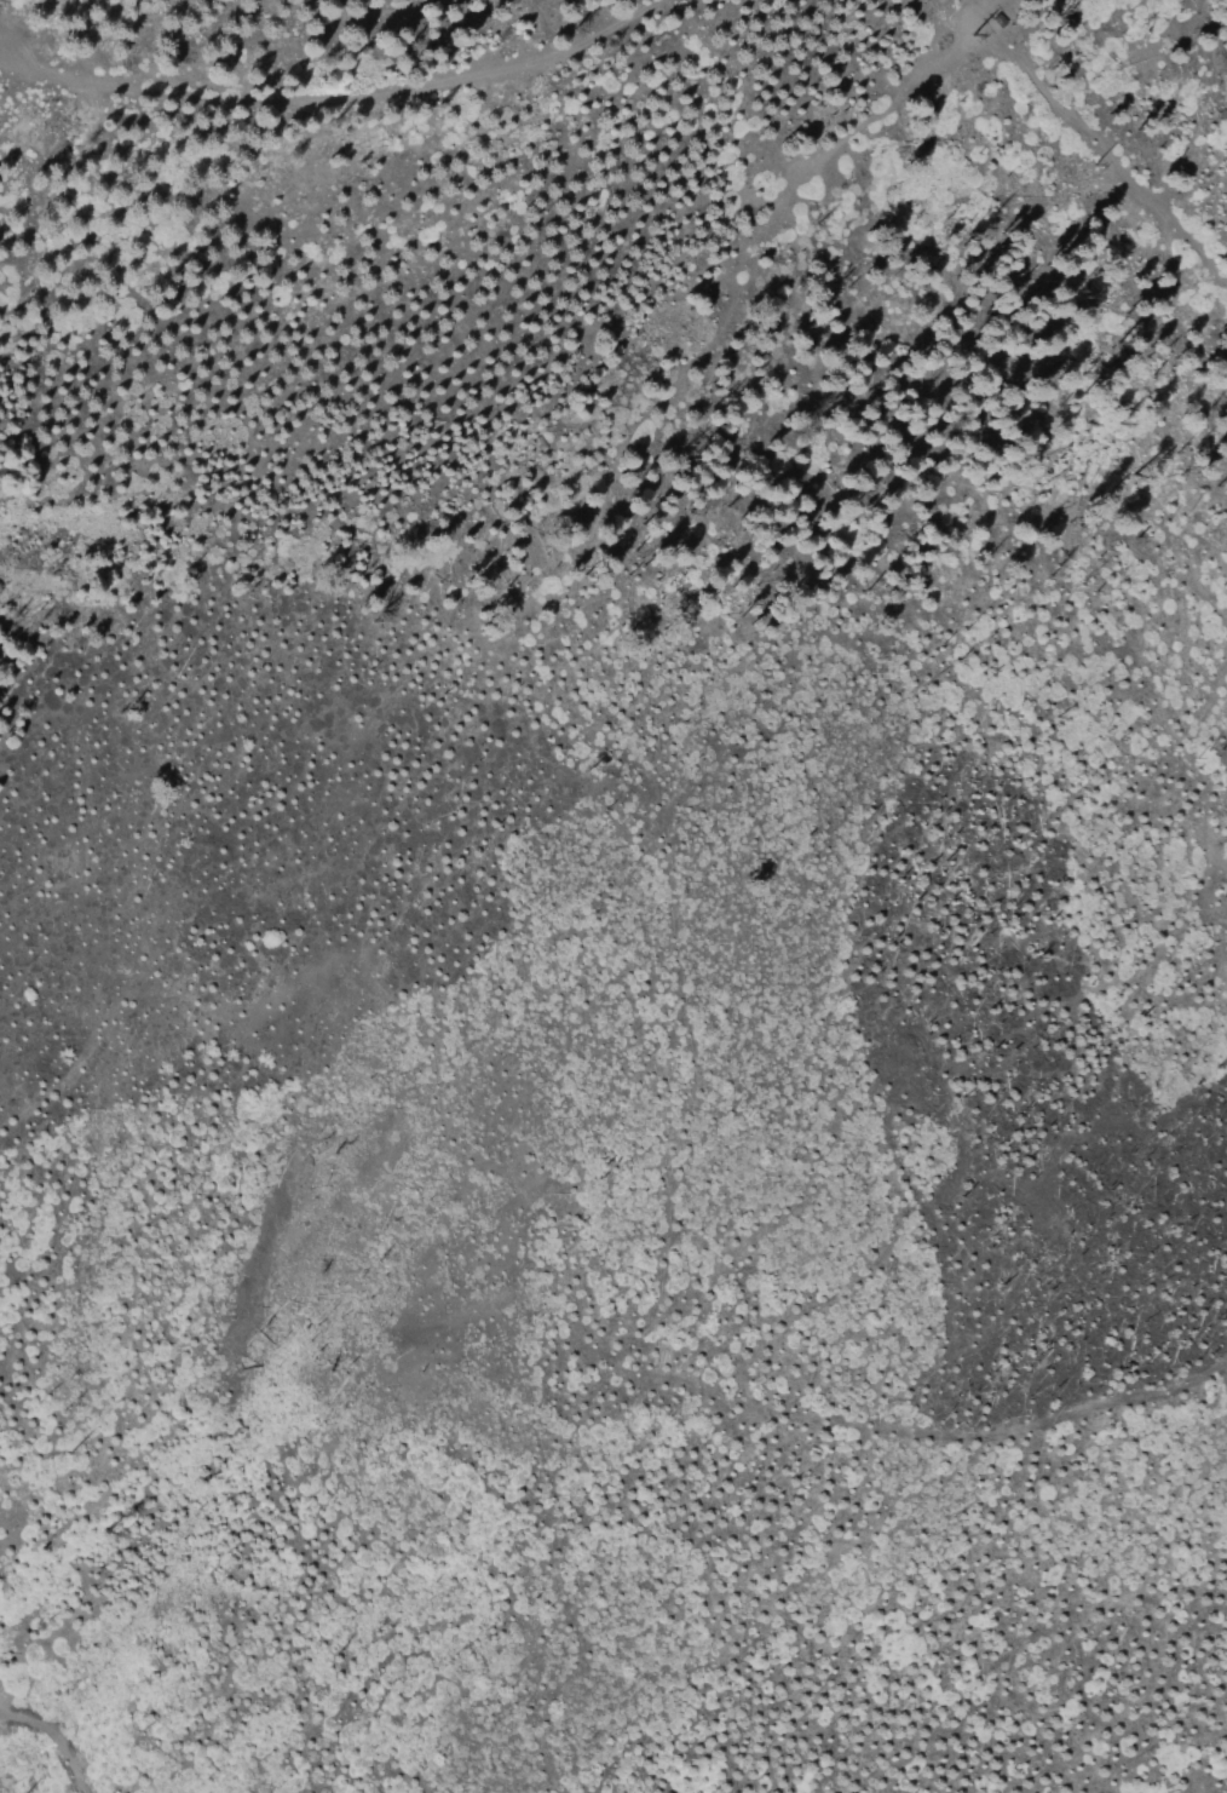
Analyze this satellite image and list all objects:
power tower: (963, 34)
road: (328, 96)
power tower: (1085, 163)

